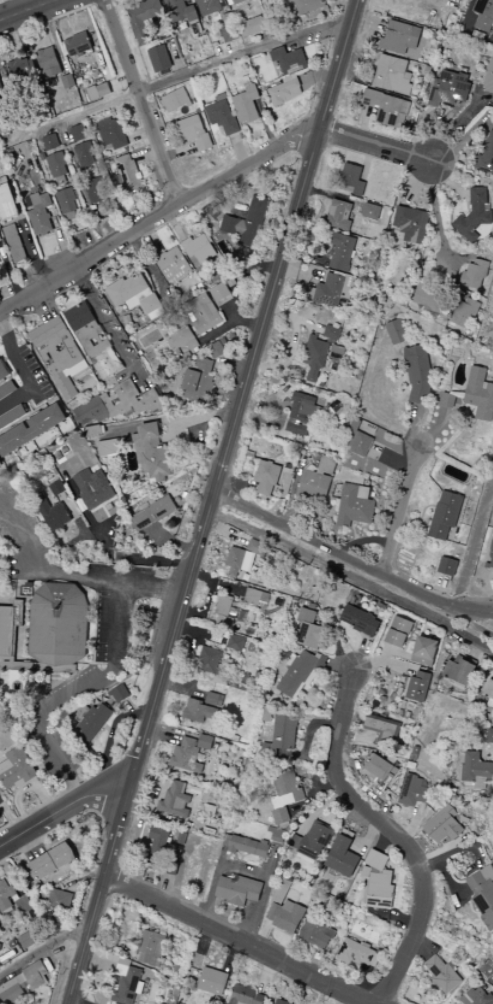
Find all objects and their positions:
road: (188, 2)
building: (229, 2)
building: (238, 2)
road: (97, 3)
road: (19, 5)
building: (307, 5)
building: (210, 6)
road: (9, 7)
road: (26, 9)
building: (179, 11)
building: (484, 15)
building: (143, 19)
building: (227, 20)
building: (242, 20)
road: (46, 21)
building: (151, 21)
road: (71, 25)
building: (251, 27)
building: (229, 34)
road: (159, 36)
road: (54, 38)
building: (400, 39)
road: (16, 46)
building: (78, 46)
road: (176, 57)
building: (159, 59)
road: (197, 59)
building: (288, 60)
building: (48, 64)
road: (169, 71)
road: (192, 72)
building: (24, 73)
road: (316, 74)
building: (392, 75)
building: (289, 78)
building: (489, 79)
road: (323, 80)
building: (68, 81)
building: (80, 81)
building: (245, 81)
road: (4, 83)
building: (1, 86)
building: (104, 88)
building: (448, 89)
building: (93, 93)
building: (281, 93)
building: (1, 99)
building: (175, 100)
road: (141, 102)
building: (246, 105)
building: (386, 109)
road: (155, 110)
building: (198, 111)
building: (222, 117)
road: (266, 125)
road: (221, 132)
building: (78, 133)
building: (194, 133)
building: (112, 134)
road: (140, 134)
road: (226, 136)
road: (230, 136)
road: (309, 136)
building: (51, 142)
road: (240, 151)
road: (178, 152)
road: (147, 154)
building: (487, 154)
building: (84, 155)
building: (42, 157)
building: (58, 164)
road: (96, 164)
building: (127, 175)
building: (351, 179)
road: (208, 187)
building: (94, 190)
building: (66, 200)
road: (79, 200)
road: (227, 202)
building: (8, 203)
building: (256, 210)
building: (370, 212)
road: (438, 213)
building: (473, 214)
building: (339, 215)
building: (41, 216)
building: (411, 225)
road: (175, 226)
building: (239, 229)
road: (111, 231)
building: (1, 237)
building: (208, 237)
building: (14, 243)
road: (87, 243)
road: (65, 248)
building: (202, 248)
building: (189, 251)
road: (33, 252)
building: (340, 252)
road: (117, 262)
building: (172, 264)
road: (256, 266)
road: (134, 267)
road: (151, 269)
road: (9, 272)
building: (474, 274)
building: (231, 282)
building: (328, 290)
building: (219, 292)
building: (134, 295)
building: (428, 299)
road: (42, 304)
road: (41, 307)
building: (201, 313)
building: (464, 313)
road: (235, 315)
road: (105, 324)
road: (229, 325)
building: (193, 329)
building: (47, 330)
building: (396, 332)
building: (331, 333)
building: (184, 339)
building: (94, 340)
building: (222, 341)
building: (170, 343)
building: (195, 349)
building: (215, 350)
building: (337, 350)
building: (61, 351)
building: (178, 352)
road: (244, 353)
building: (186, 355)
building: (314, 358)
road: (236, 366)
building: (77, 369)
building: (4, 371)
road: (23, 372)
building: (417, 374)
road: (81, 376)
building: (196, 380)
building: (66, 386)
building: (7, 389)
road: (101, 391)
building: (479, 394)
building: (447, 398)
building: (130, 400)
road: (75, 402)
building: (92, 411)
road: (159, 412)
building: (300, 414)
building: (12, 416)
road: (192, 421)
road: (141, 422)
building: (32, 430)
building: (95, 431)
building: (137, 432)
building: (133, 437)
building: (358, 437)
building: (108, 447)
building: (151, 453)
building: (63, 454)
building: (1, 462)
building: (266, 478)
building: (316, 480)
building: (58, 488)
building: (94, 489)
road: (210, 501)
road: (141, 502)
building: (146, 504)
building: (354, 506)
building: (52, 511)
road: (401, 512)
building: (152, 513)
road: (74, 515)
building: (444, 515)
road: (107, 524)
road: (140, 532)
road: (22, 533)
road: (78, 537)
road: (103, 540)
road: (173, 541)
road: (474, 544)
road: (128, 549)
road: (351, 556)
building: (242, 558)
building: (491, 559)
road: (59, 562)
building: (446, 567)
road: (351, 578)
road: (108, 582)
road: (16, 588)
building: (255, 598)
building: (222, 611)
building: (359, 621)
building: (59, 625)
road: (471, 625)
building: (308, 630)
building: (398, 632)
building: (11, 637)
building: (235, 643)
building: (424, 651)
building: (208, 660)
building: (55, 669)
building: (459, 671)
building: (295, 674)
building: (418, 686)
road: (56, 689)
building: (488, 690)
building: (120, 694)
road: (74, 698)
road: (113, 705)
road: (128, 708)
building: (202, 708)
road: (117, 712)
building: (92, 722)
road: (108, 729)
building: (383, 730)
building: (281, 736)
building: (489, 736)
road: (111, 737)
building: (189, 753)
building: (16, 769)
building: (379, 769)
building: (476, 770)
building: (413, 792)
building: (284, 794)
building: (174, 801)
road: (60, 809)
building: (444, 826)
road: (393, 836)
building: (313, 841)
building: (157, 844)
building: (248, 847)
building: (342, 857)
building: (51, 862)
road: (247, 869)
building: (378, 881)
building: (238, 890)
building: (483, 894)
building: (6, 896)
building: (59, 900)
building: (285, 916)
building: (316, 934)
road: (238, 939)
building: (26, 940)
building: (151, 948)
road: (41, 951)
building: (358, 954)
building: (442, 974)
building: (212, 982)
building: (125, 983)
building: (23, 985)
building: (245, 996)
building: (476, 997)
building: (280, 1002)

